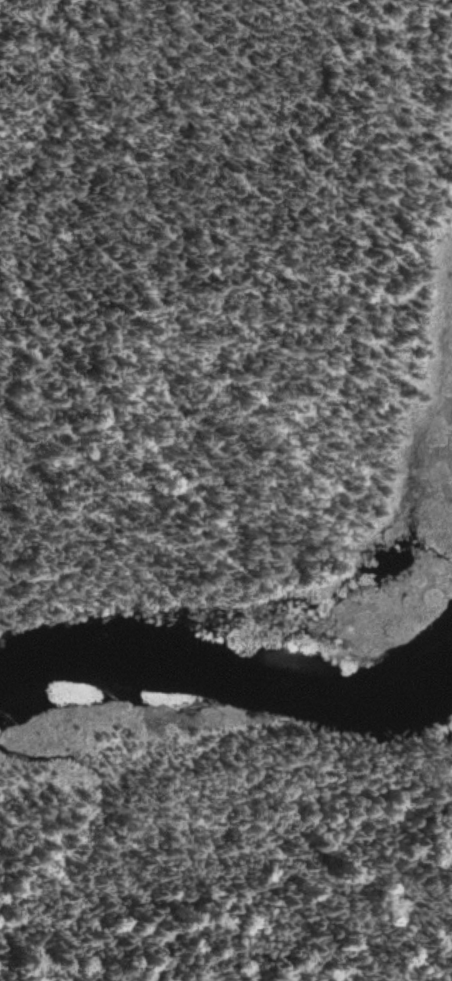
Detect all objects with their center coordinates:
river: (158, 657)
river: (389, 693)

